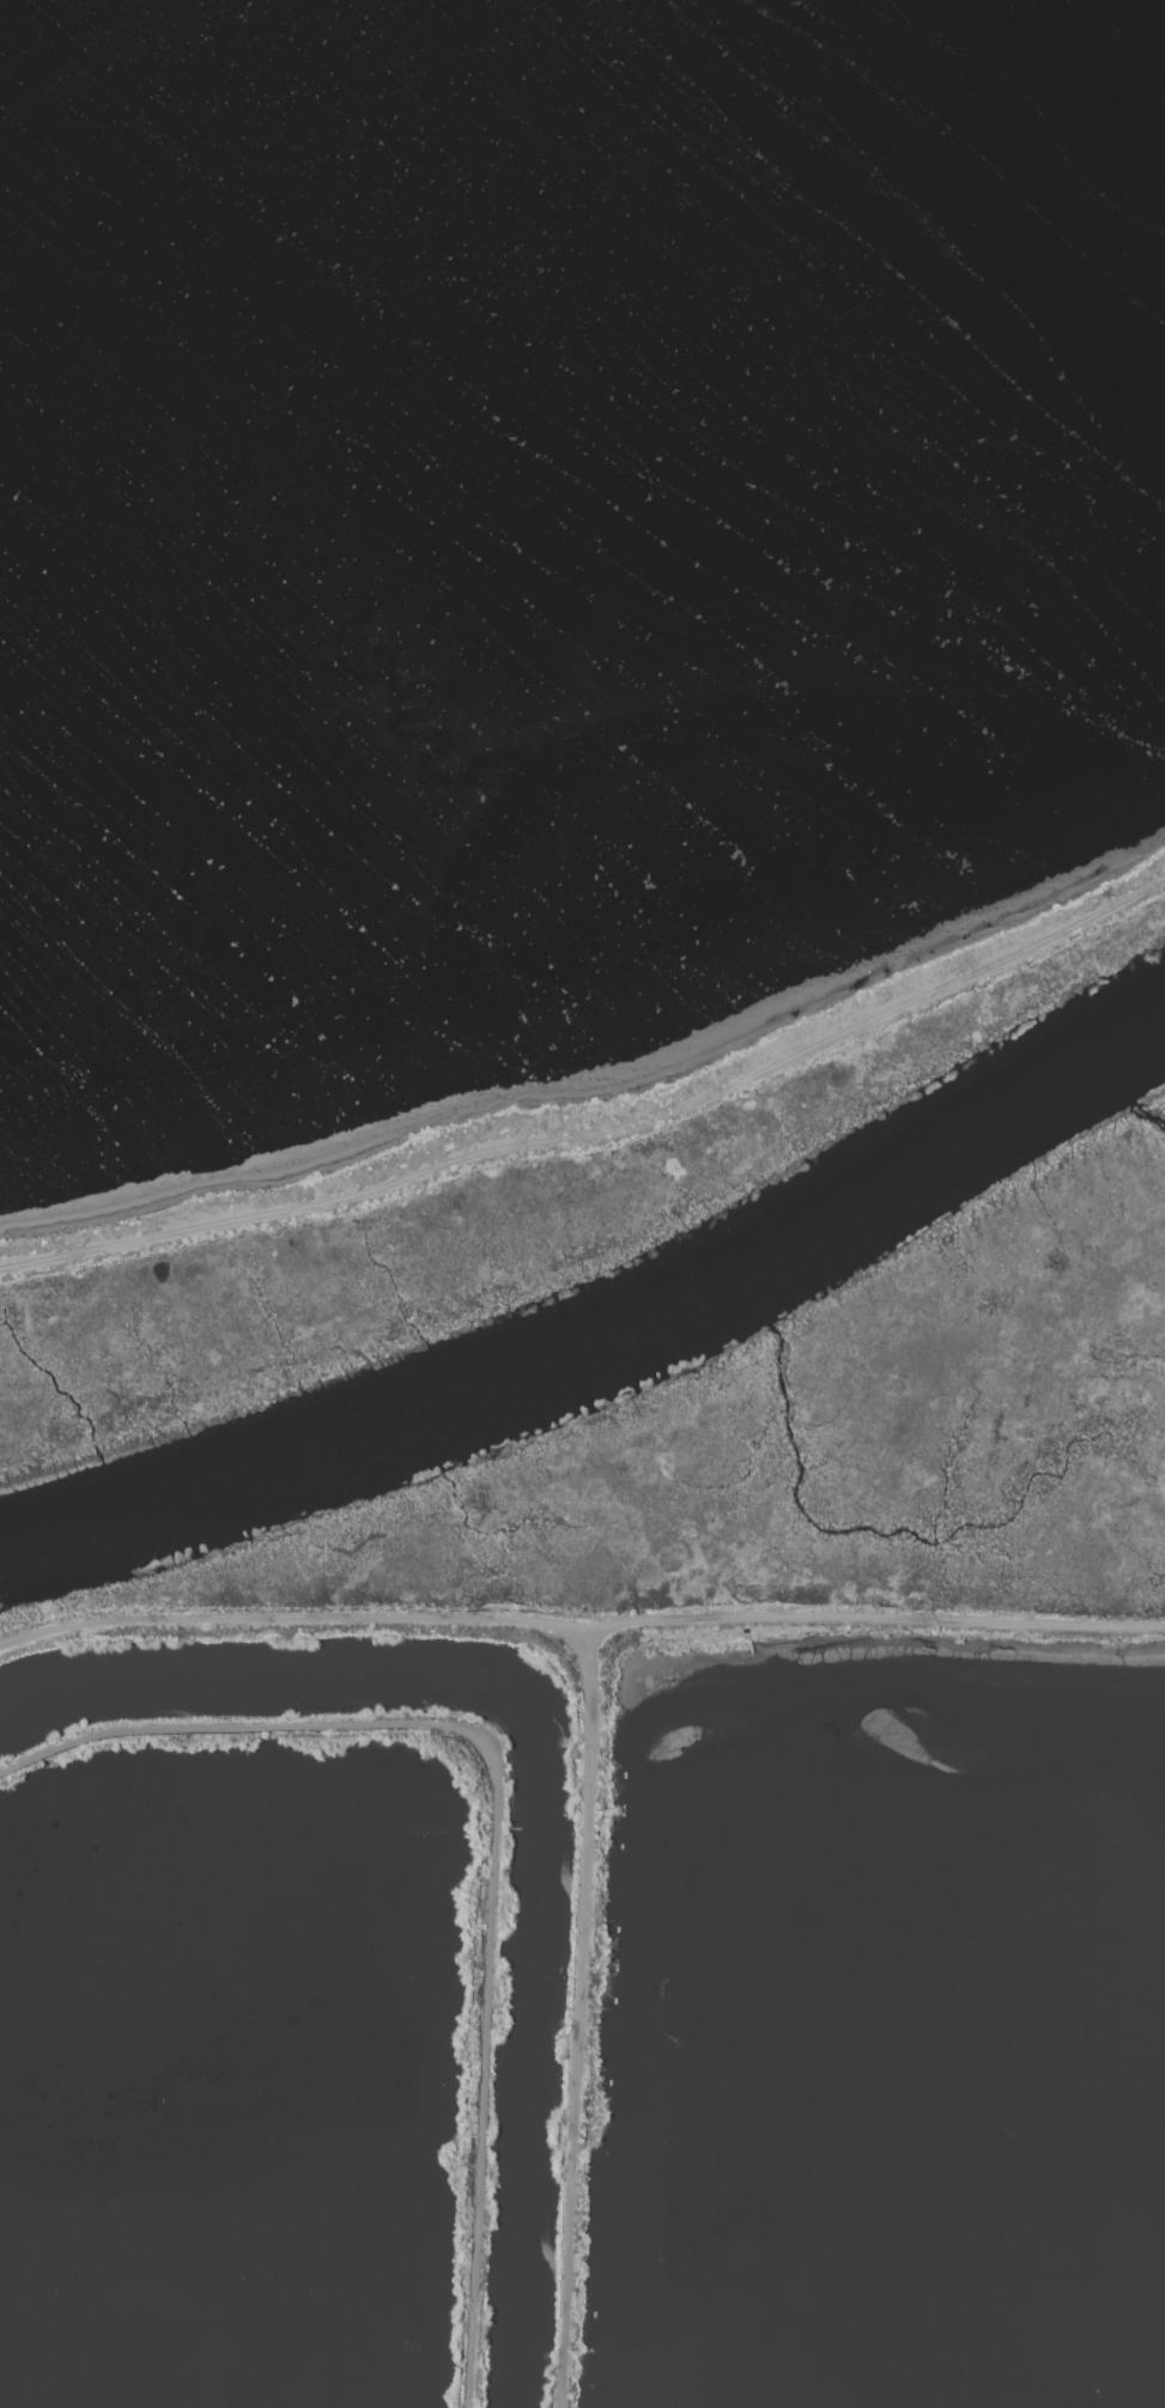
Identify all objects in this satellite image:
road: (602, 1133)
river: (600, 1341)
road: (580, 1628)
road: (496, 1825)
road: (571, 2019)

